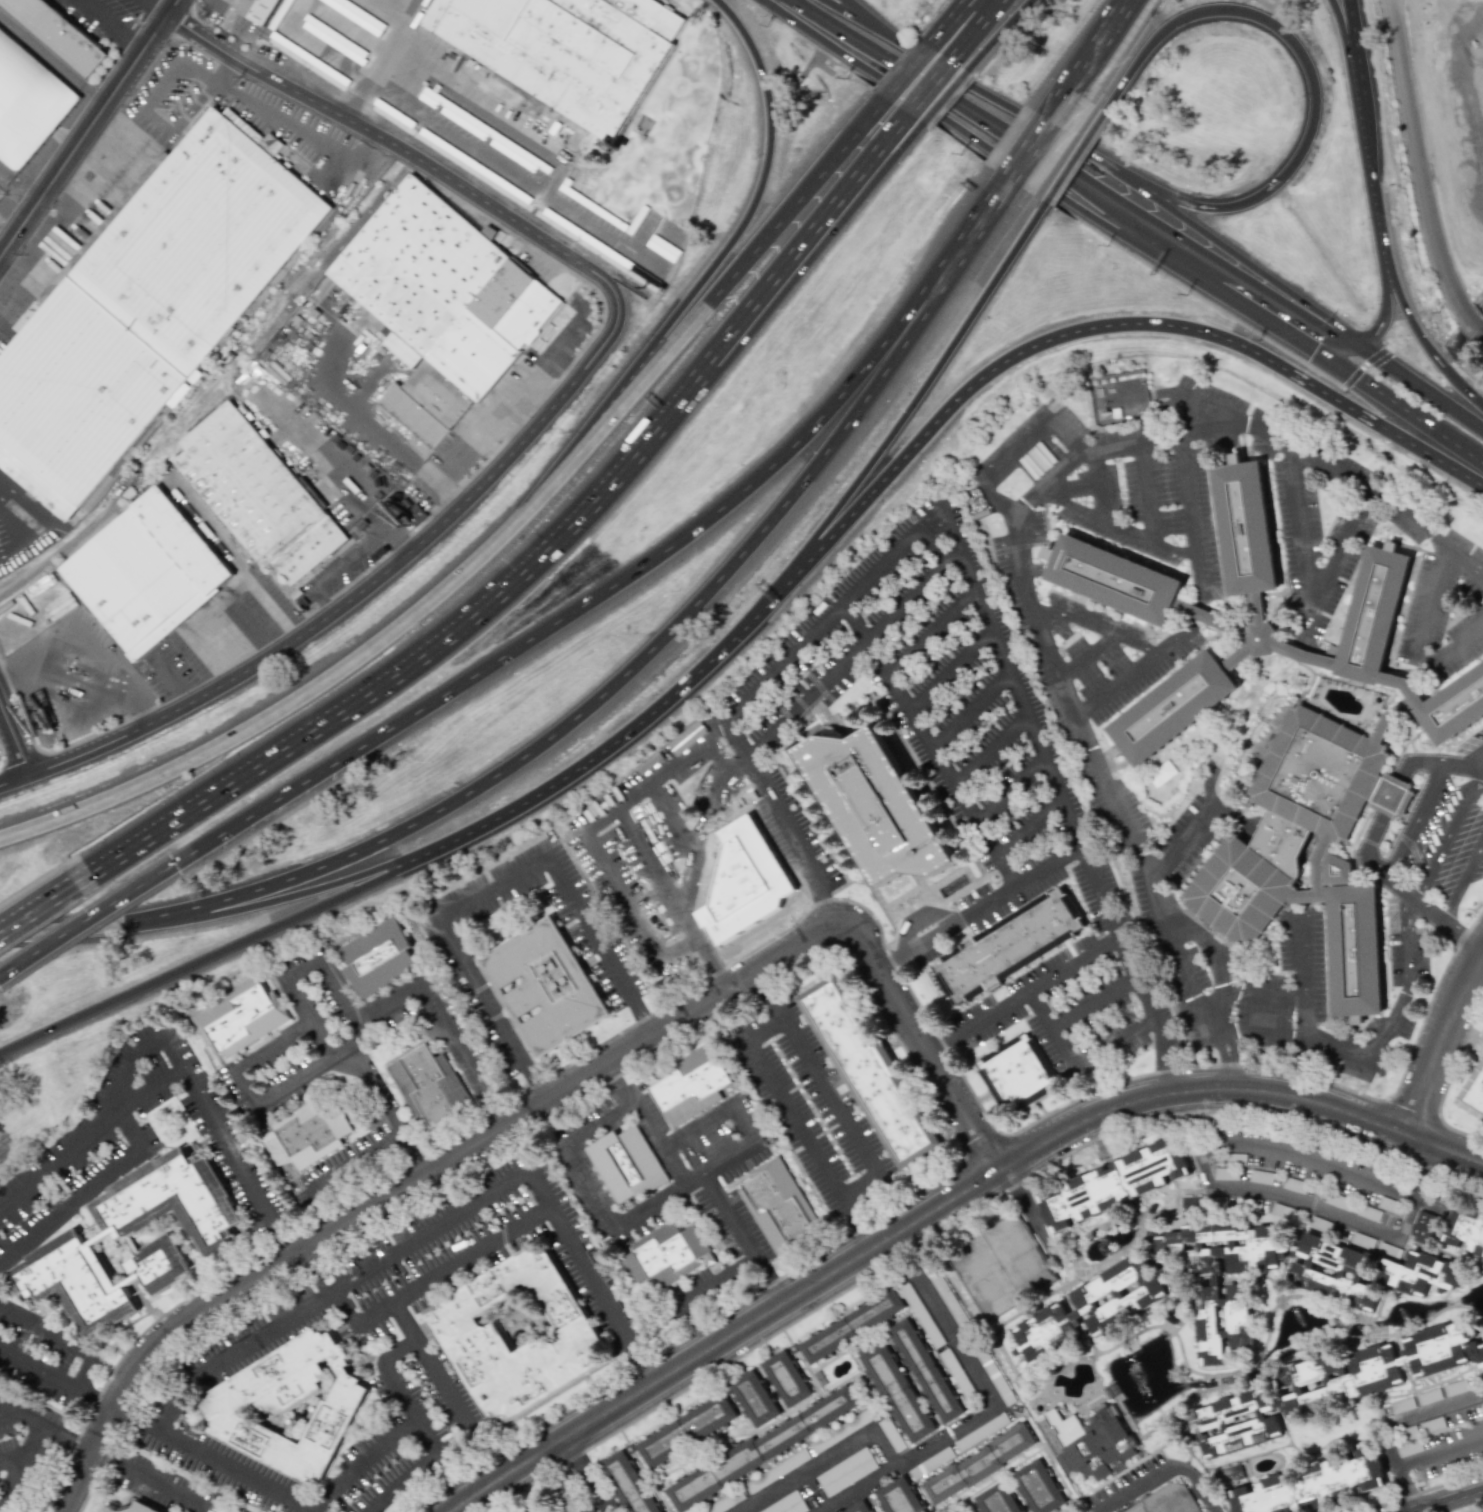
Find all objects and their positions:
road: (148, 0)
road: (680, 8)
road: (158, 9)
road: (409, 9)
building: (260, 10)
road: (950, 19)
road: (955, 19)
road: (861, 20)
road: (872, 20)
road: (98, 21)
road: (1341, 28)
road: (1348, 28)
road: (983, 29)
road: (1004, 33)
building: (60, 34)
road: (1098, 47)
road: (131, 49)
building: (567, 51)
road: (387, 55)
road: (52, 60)
road: (173, 65)
road: (910, 71)
road: (228, 72)
road: (1353, 76)
road: (1313, 77)
building: (483, 85)
building: (493, 91)
road: (934, 91)
building: (502, 96)
road: (946, 97)
building: (509, 101)
building: (29, 103)
road: (1007, 108)
road: (497, 119)
road: (182, 123)
parking lot: (292, 126)
road: (89, 129)
building: (557, 130)
building: (568, 133)
road: (302, 134)
building: (563, 139)
road: (1037, 139)
road: (459, 142)
building: (576, 142)
road: (993, 145)
road: (1074, 163)
parking lot: (521, 166)
road: (1422, 171)
road: (101, 174)
road: (1074, 174)
road: (1371, 180)
road: (19, 187)
road: (844, 203)
road: (849, 205)
road: (989, 210)
road: (610, 241)
road: (1238, 256)
road: (714, 267)
road: (710, 305)
building: (443, 306)
building: (148, 307)
road: (1386, 313)
road: (1271, 319)
road: (1093, 330)
road: (1426, 341)
traffic signals: (1353, 345)
road: (550, 346)
road: (1339, 349)
road: (1418, 386)
power substation: (1120, 396)
road: (1404, 407)
road: (913, 408)
road: (548, 414)
road: (1054, 428)
road: (376, 430)
road: (1468, 446)
road: (330, 464)
road: (1093, 482)
road: (1042, 484)
road: (1142, 489)
building: (260, 495)
road: (1188, 496)
road: (1066, 503)
building: (396, 512)
road: (35, 523)
road: (1164, 545)
road: (546, 550)
road: (339, 567)
parking lot: (343, 568)
building: (148, 574)
road: (1307, 585)
road: (607, 591)
road: (1045, 606)
road: (1426, 614)
road: (1304, 619)
road: (1103, 627)
parking lot: (221, 634)
road: (859, 639)
road: (1459, 648)
road: (1086, 655)
road: (950, 671)
road: (740, 700)
road: (288, 705)
road: (597, 705)
road: (967, 705)
road: (789, 710)
road: (916, 726)
building: (1282, 733)
road: (624, 738)
road: (15, 741)
road: (989, 749)
road: (1472, 753)
road: (1008, 789)
road: (1391, 798)
road: (1061, 800)
road: (771, 805)
building: (878, 806)
road: (672, 818)
road: (1419, 821)
road: (177, 822)
road: (1028, 828)
road: (1449, 833)
road: (1183, 850)
building: (746, 882)
road: (1463, 886)
road: (490, 890)
road: (622, 894)
road: (989, 903)
road: (44, 906)
road: (829, 906)
road: (254, 907)
road: (1158, 907)
road: (87, 919)
road: (915, 919)
road: (1442, 921)
road: (24, 933)
road: (225, 949)
road: (703, 950)
building: (1013, 950)
building: (378, 957)
road: (1301, 958)
road: (1214, 959)
road: (889, 969)
road: (1033, 984)
building: (549, 988)
road: (333, 992)
road: (1289, 993)
road: (764, 997)
road: (426, 999)
road: (1090, 999)
road: (1397, 1014)
building: (242, 1019)
road: (1047, 1023)
road: (647, 1027)
road: (750, 1033)
road: (1111, 1038)
road: (325, 1042)
road: (1441, 1042)
road: (937, 1044)
road: (167, 1046)
building: (870, 1073)
building: (1018, 1076)
road: (1449, 1079)
building: (431, 1086)
building: (692, 1086)
building: (1477, 1088)
road: (288, 1090)
road: (539, 1091)
road: (543, 1103)
road: (740, 1112)
road: (995, 1130)
building: (310, 1133)
road: (655, 1146)
road: (1308, 1161)
road: (118, 1165)
building: (627, 1165)
road: (352, 1166)
building: (1223, 1173)
building: (1260, 1177)
building: (1111, 1185)
building: (1294, 1185)
road: (1304, 1203)
building: (1192, 1204)
road: (942, 1206)
building: (1281, 1211)
building: (781, 1212)
road: (1030, 1213)
building: (1371, 1214)
road: (631, 1217)
building: (1423, 1228)
building: (1465, 1232)
building: (1362, 1240)
building: (136, 1242)
fountain: (1105, 1247)
road: (902, 1250)
road: (311, 1253)
park: (1019, 1254)
road: (313, 1258)
road: (1109, 1259)
building: (667, 1260)
building: (1421, 1271)
road: (371, 1273)
park: (981, 1277)
road: (437, 1280)
road: (331, 1286)
road: (334, 1291)
road: (699, 1291)
building: (1208, 1292)
building: (948, 1300)
building: (1092, 1308)
fountain: (1399, 1313)
building: (920, 1315)
fountain: (1297, 1319)
road: (404, 1323)
fountain: (1356, 1327)
building: (853, 1329)
road: (66, 1337)
building: (522, 1341)
building: (929, 1373)
road: (36, 1375)
building: (956, 1375)
road: (1200, 1375)
fountain: (1137, 1380)
building: (788, 1383)
building: (1333, 1385)
road: (398, 1387)
building: (900, 1396)
building: (1423, 1398)
building: (757, 1401)
road: (92, 1402)
building: (1401, 1405)
building: (295, 1410)
road: (6, 1413)
road: (22, 1416)
road: (977, 1416)
road: (1418, 1417)
road: (139, 1419)
building: (981, 1432)
building: (689, 1433)
building: (891, 1434)
road: (68, 1439)
road: (454, 1440)
building: (1087, 1441)
building: (1409, 1447)
road: (1439, 1449)
building: (765, 1450)
road: (18, 1451)
road: (439, 1455)
road: (574, 1456)
road: (822, 1459)
building: (931, 1463)
road: (362, 1464)
road: (457, 1467)
building: (982, 1468)
road: (22, 1469)
building: (845, 1472)
road: (1164, 1474)
building: (1231, 1474)
road: (441, 1478)
road: (150, 1479)
building: (627, 1485)
building: (1314, 1486)
road: (1403, 1487)
road: (463, 1491)
road: (595, 1492)
building: (1026, 1494)
building: (901, 1500)
road: (1445, 1500)
building: (787, 1505)
park: (1174, 1505)
building: (570, 1506)
building: (141, 1507)
building: (533, 1510)
building: (864, 1510)
park: (1137, 1510)
building: (1065, 1511)

